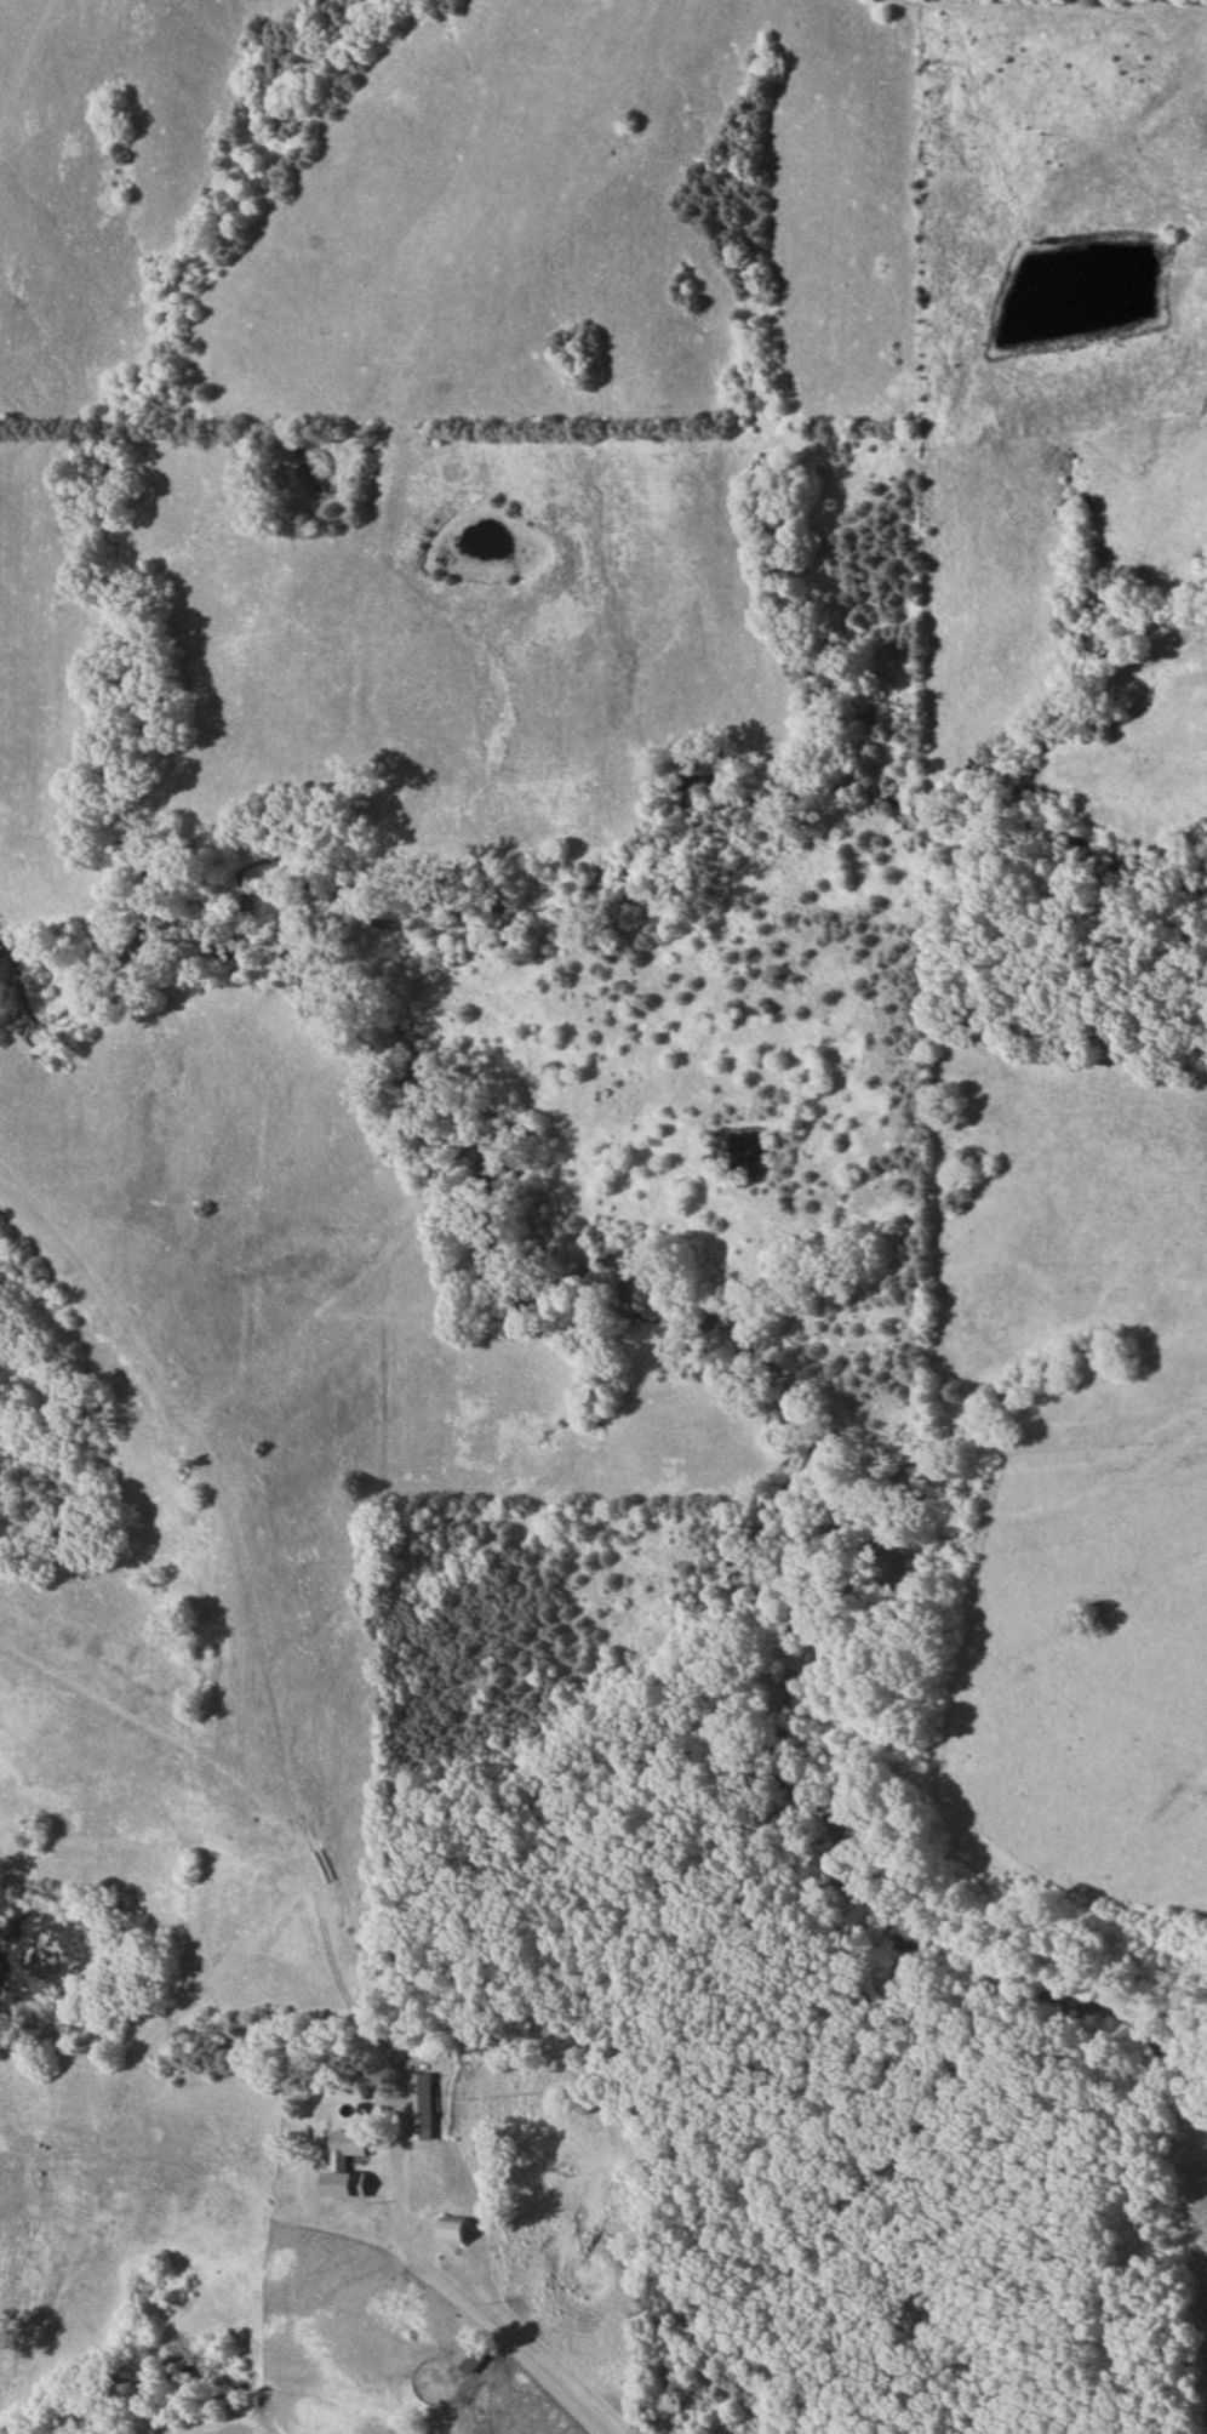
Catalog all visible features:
building: (419, 2114)
building: (344, 2149)
building: (448, 2229)
road: (510, 2349)

